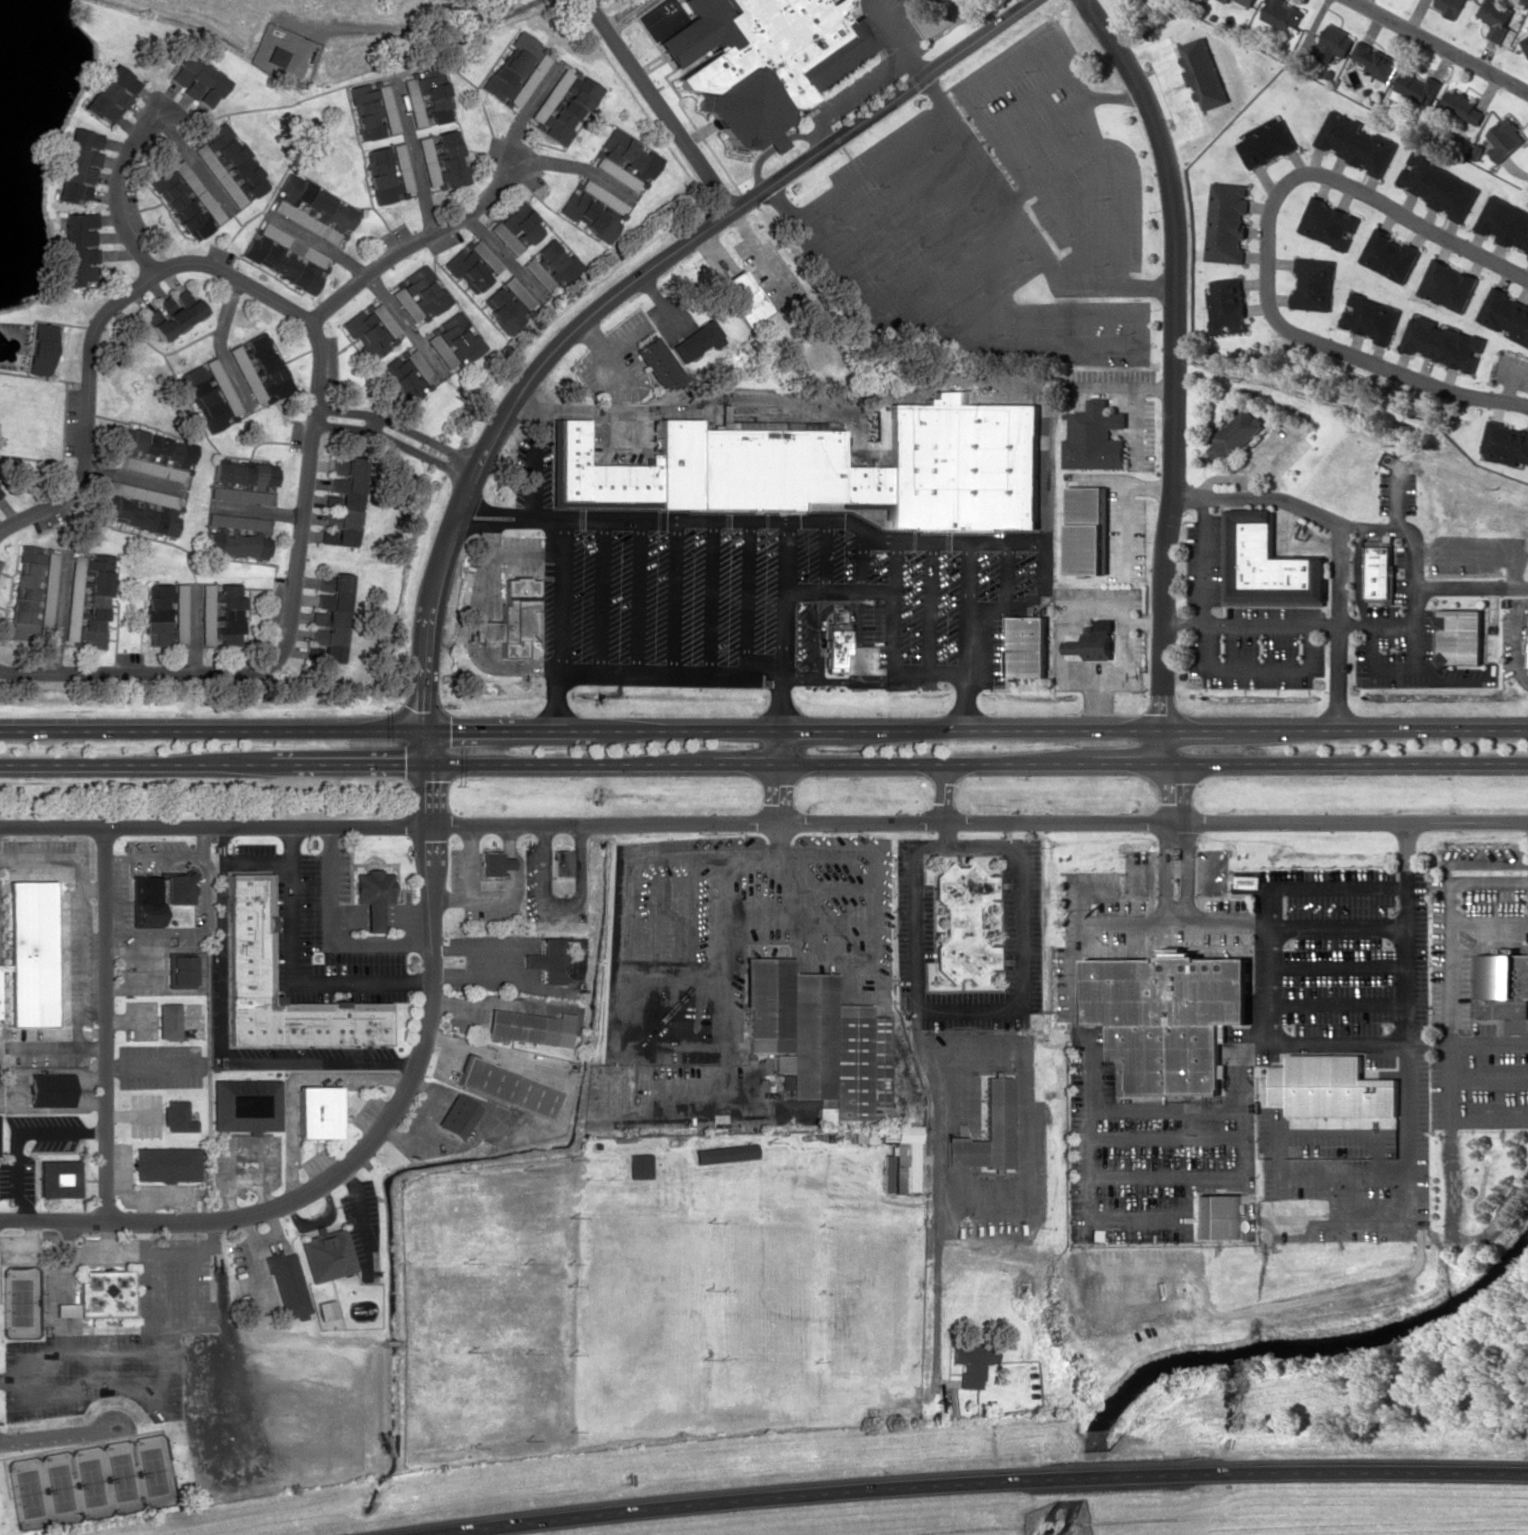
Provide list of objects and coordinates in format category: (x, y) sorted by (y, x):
building: (1247, 2)
building: (1451, 6)
road: (903, 9)
road: (623, 14)
building: (1283, 14)
building: (1498, 18)
road: (900, 37)
building: (1525, 42)
building: (1335, 43)
road: (1439, 44)
building: (761, 58)
road: (1014, 61)
building: (1376, 61)
building: (518, 69)
building: (197, 79)
building: (1419, 86)
building: (110, 94)
road: (1114, 96)
road: (1032, 97)
building: (427, 98)
building: (564, 104)
road: (656, 105)
building: (1463, 106)
building: (373, 109)
road: (820, 118)
road: (1047, 131)
building: (1505, 139)
building: (1267, 142)
building: (1356, 143)
road: (1122, 153)
building: (442, 159)
building: (624, 160)
building: (77, 164)
building: (228, 164)
road: (870, 165)
building: (388, 172)
building: (1438, 186)
road: (112, 189)
road: (890, 194)
building: (185, 198)
building: (312, 208)
building: (591, 209)
road: (1061, 216)
building: (1227, 222)
building: (1328, 223)
building: (1505, 223)
road: (910, 225)
building: (515, 226)
road: (1024, 226)
road: (1083, 240)
road: (420, 243)
road: (1268, 250)
building: (1390, 255)
road: (931, 256)
building: (285, 257)
building: (555, 262)
building: (472, 264)
building: (537, 273)
building: (1314, 284)
road: (837, 285)
building: (1448, 285)
road: (952, 286)
road: (619, 289)
building: (418, 293)
building: (744, 297)
road: (990, 302)
building: (507, 303)
building: (1228, 306)
building: (174, 312)
building: (1506, 315)
building: (1371, 317)
building: (453, 340)
building: (696, 341)
building: (1443, 343)
building: (40, 348)
road: (1136, 351)
building: (656, 363)
building: (259, 368)
building: (405, 375)
road: (320, 379)
building: (209, 393)
road: (1175, 403)
road: (522, 406)
building: (1236, 436)
road: (397, 440)
building: (1097, 441)
building: (1505, 443)
building: (151, 454)
road: (1273, 459)
road: (534, 465)
building: (835, 466)
road: (1229, 478)
building: (241, 482)
building: (0, 493)
road: (1398, 497)
building: (343, 502)
building: (140, 507)
road: (494, 509)
road: (1319, 515)
road: (657, 519)
building: (237, 522)
road: (490, 523)
building: (1091, 534)
road: (912, 539)
building: (235, 544)
road: (525, 554)
road: (1481, 554)
road: (824, 555)
road: (860, 560)
building: (1269, 563)
road: (896, 565)
building: (1380, 571)
road: (1008, 572)
road: (1358, 575)
road: (1471, 587)
road: (748, 590)
building: (33, 592)
road: (1027, 593)
road: (561, 594)
road: (600, 596)
road: (638, 596)
road: (673, 596)
road: (709, 597)
building: (96, 599)
building: (159, 599)
building: (73, 604)
road: (930, 605)
building: (181, 614)
building: (221, 614)
building: (331, 614)
building: (517, 615)
road: (1307, 626)
road: (1340, 626)
road: (486, 630)
building: (158, 632)
road: (810, 635)
building: (1464, 641)
building: (1095, 643)
building: (835, 645)
building: (1027, 646)
road: (1414, 652)
road: (857, 655)
road: (1204, 660)
road: (902, 670)
road: (781, 673)
road: (648, 674)
road: (796, 678)
road: (1405, 678)
road: (834, 680)
road: (967, 701)
road: (763, 730)
traffic signals: (426, 746)
road: (763, 763)
road: (430, 781)
road: (944, 794)
road: (979, 825)
road: (216, 834)
building: (493, 862)
building: (559, 862)
road: (1477, 862)
road: (1188, 873)
road: (1166, 874)
road: (1397, 885)
road: (1210, 892)
building: (158, 894)
building: (373, 895)
road: (1490, 920)
building: (963, 922)
road: (1245, 927)
building: (251, 943)
building: (33, 957)
road: (1267, 965)
building: (549, 966)
road: (1338, 967)
building: (180, 969)
building: (1503, 985)
road: (1338, 1003)
building: (0, 1006)
road: (980, 1008)
road: (1452, 1011)
building: (1167, 1018)
building: (169, 1020)
road: (1409, 1024)
road: (106, 1031)
building: (531, 1032)
building: (817, 1039)
road: (1385, 1044)
road: (1490, 1081)
building: (1334, 1087)
road: (1345, 1089)
building: (511, 1091)
building: (54, 1093)
road: (935, 1098)
building: (245, 1104)
road: (1166, 1109)
building: (319, 1112)
road: (1023, 1116)
road: (1490, 1118)
building: (178, 1119)
building: (461, 1119)
road: (1345, 1128)
building: (985, 1131)
road: (1166, 1137)
building: (0, 1140)
building: (724, 1153)
building: (903, 1156)
building: (638, 1165)
building: (168, 1167)
road: (1345, 1167)
road: (347, 1168)
building: (886, 1172)
road: (1166, 1175)
building: (62, 1182)
road: (1280, 1199)
road: (1346, 1202)
building: (1217, 1216)
road: (1088, 1218)
road: (1455, 1236)
building: (328, 1260)
road: (934, 1286)
building: (288, 1291)
building: (100, 1296)
park: (21, 1301)
building: (325, 1309)
building: (971, 1361)
park: (1481, 1398)
road: (980, 1480)
park: (89, 1481)

